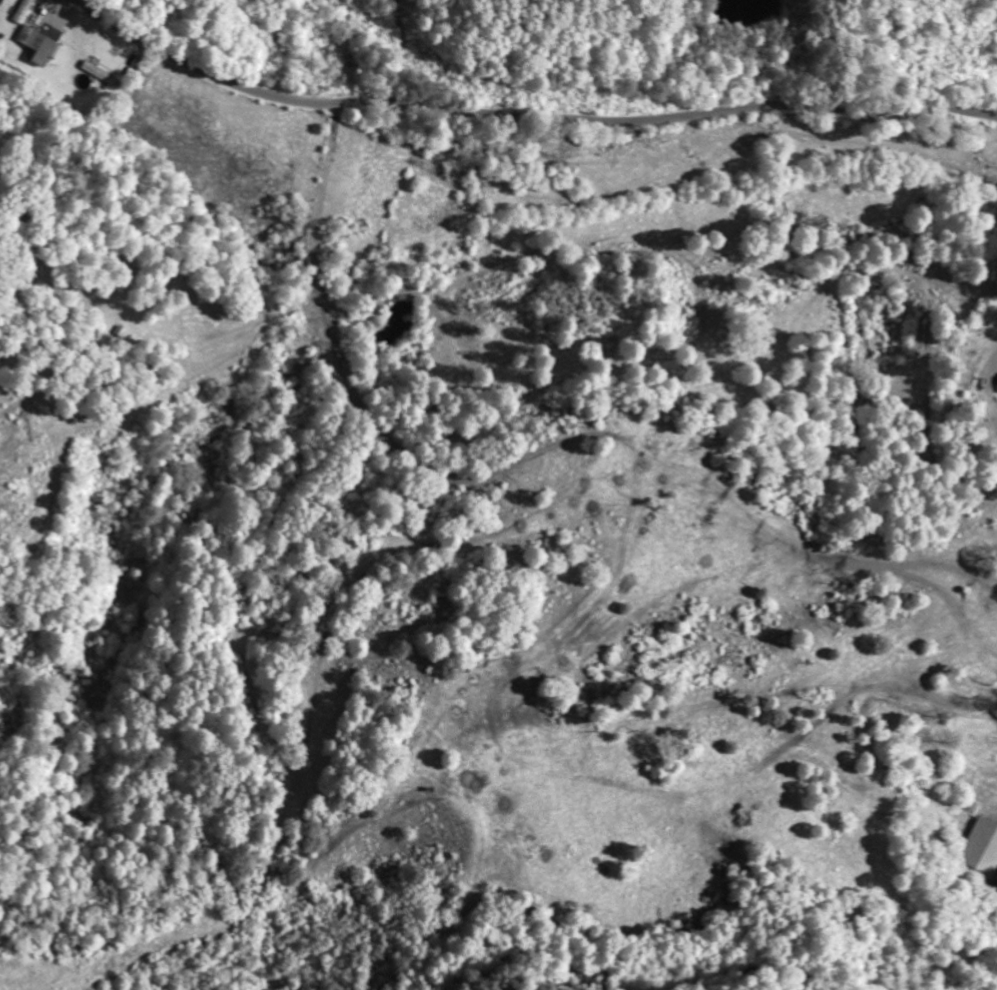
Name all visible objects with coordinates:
building: (24, 11)
building: (41, 44)
road: (414, 53)
road: (919, 54)
building: (101, 72)
road: (525, 117)
building: (981, 847)

